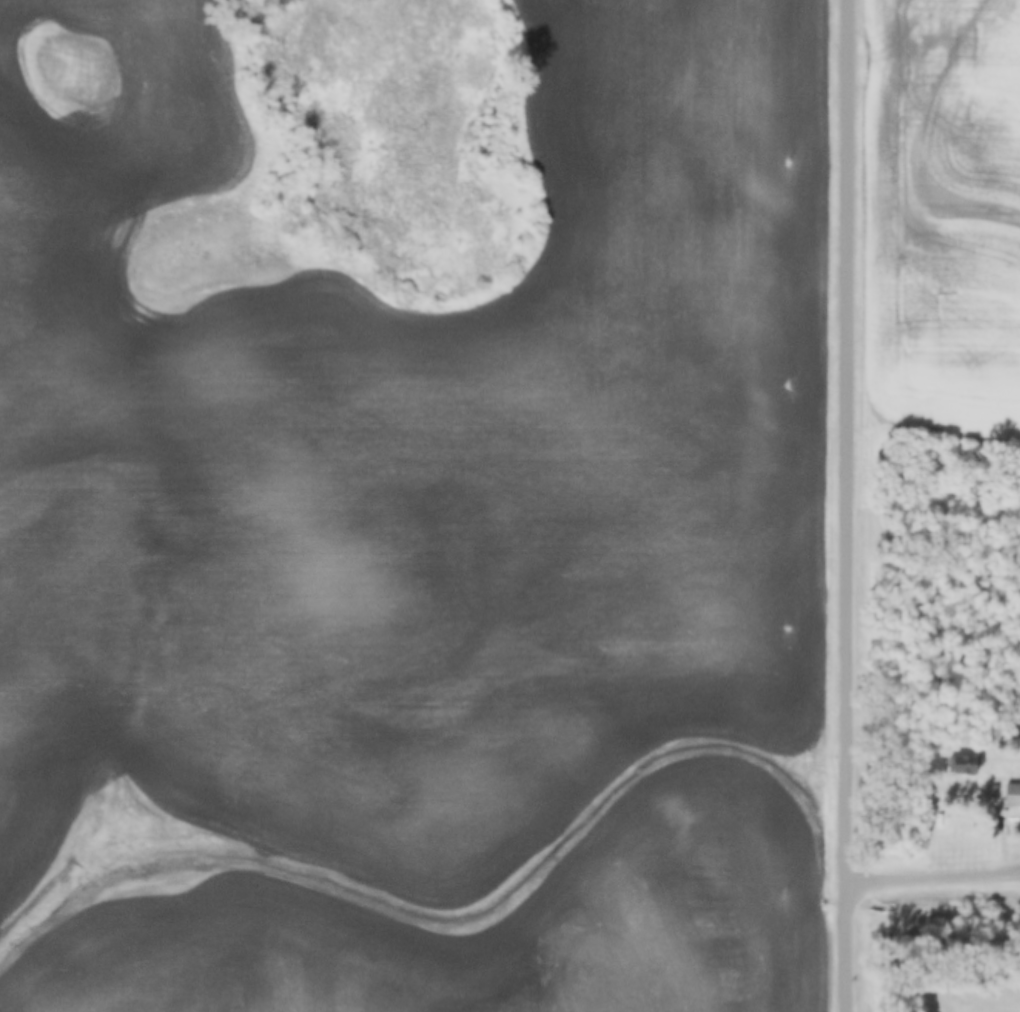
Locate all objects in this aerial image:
road: (849, 506)
building: (966, 765)
building: (1012, 795)
road: (934, 878)

